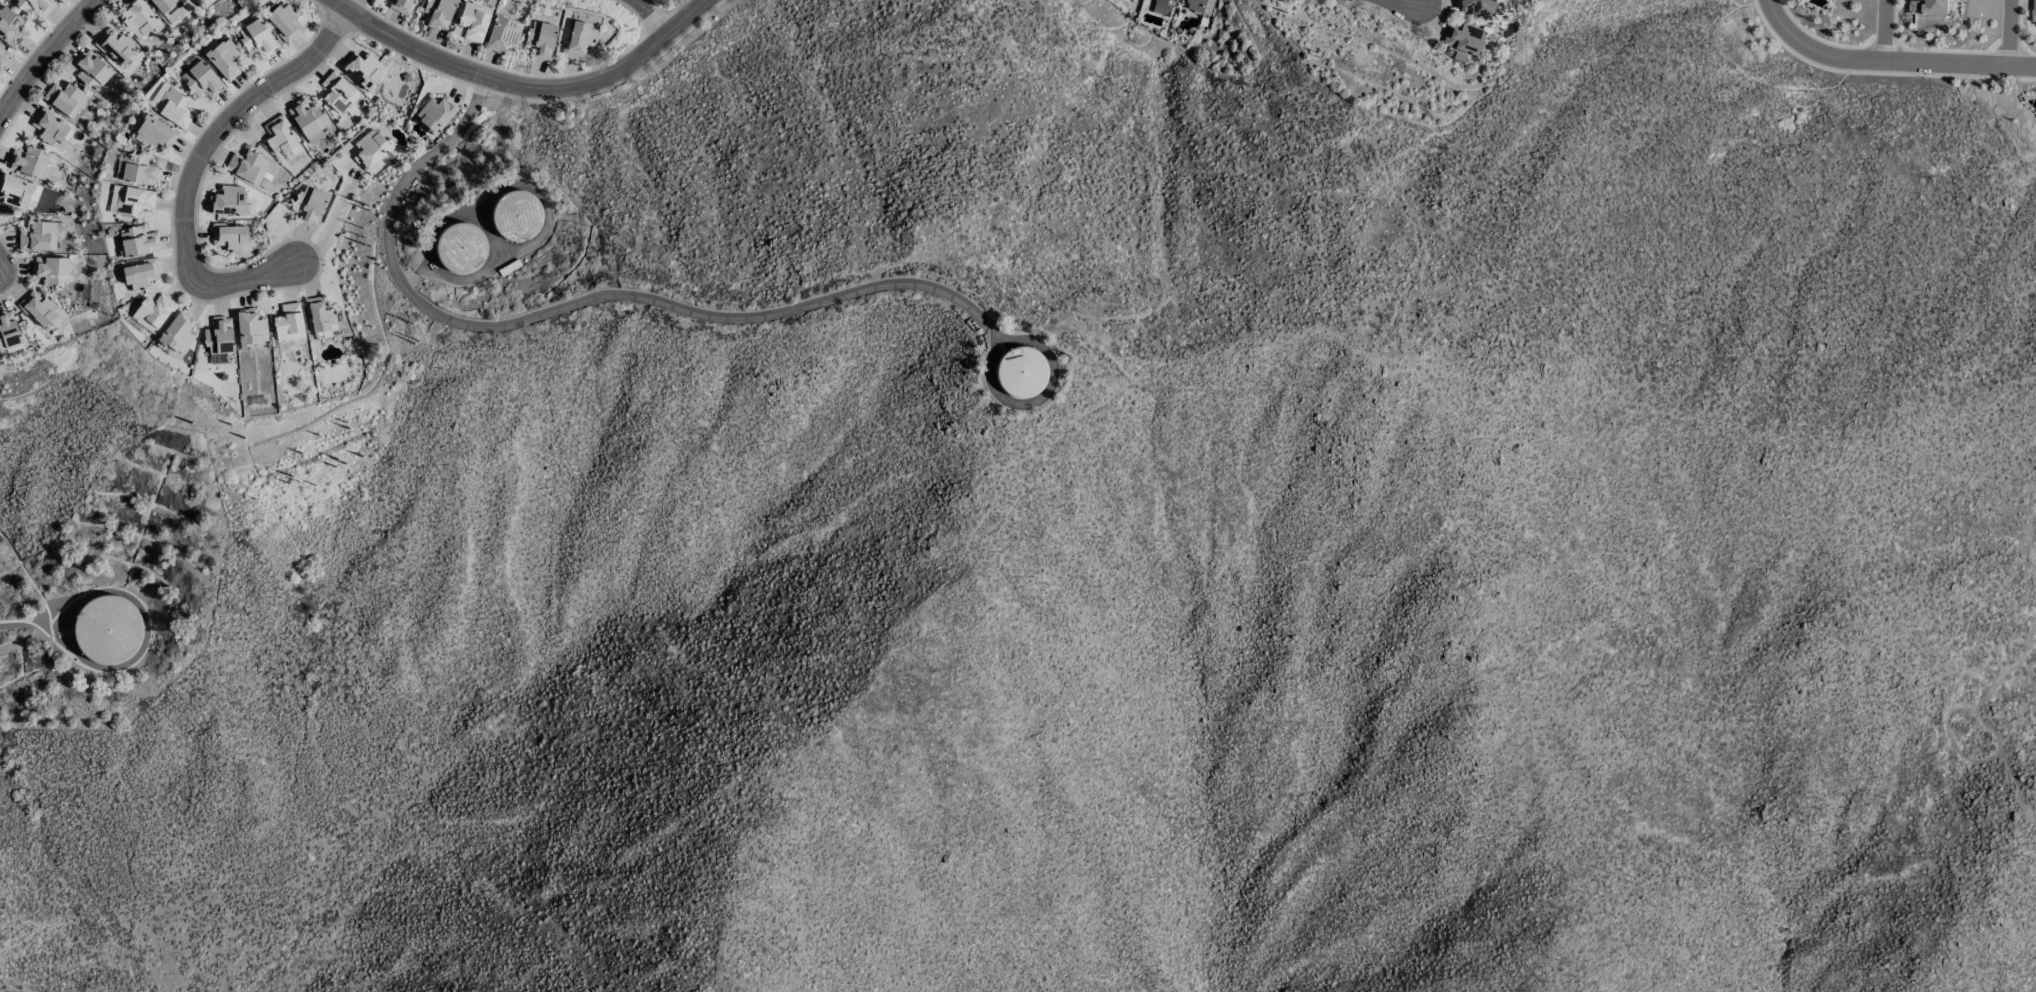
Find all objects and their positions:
building: (31, 5)
building: (167, 6)
building: (400, 6)
building: (1199, 6)
building: (1163, 7)
building: (1477, 7)
building: (1928, 7)
building: (2034, 10)
building: (439, 13)
road: (649, 16)
building: (139, 18)
building: (284, 21)
building: (474, 21)
building: (10, 28)
road: (1885, 31)
building: (503, 34)
road: (2008, 34)
building: (256, 36)
building: (1463, 38)
building: (541, 39)
building: (115, 46)
road: (401, 46)
road: (44, 55)
building: (3, 57)
building: (223, 57)
road: (1874, 63)
road: (2022, 68)
building: (363, 69)
building: (93, 71)
road: (609, 78)
building: (201, 80)
building: (338, 92)
building: (65, 99)
building: (173, 106)
building: (435, 114)
building: (308, 120)
building: (49, 127)
building: (153, 133)
building: (281, 138)
building: (371, 149)
building: (29, 162)
building: (248, 166)
road: (193, 167)
building: (138, 170)
building: (17, 191)
building: (134, 201)
building: (228, 201)
building: (310, 205)
building: (515, 215)
storage tank: (515, 215)
road: (325, 224)
building: (38, 237)
building: (229, 238)
building: (138, 242)
building: (460, 248)
storage tank: (460, 248)
building: (51, 270)
building: (141, 275)
road: (418, 278)
road: (583, 303)
building: (38, 308)
building: (153, 312)
building: (320, 314)
building: (289, 323)
building: (250, 327)
building: (8, 332)
building: (178, 334)
building: (219, 336)
building: (1019, 372)
storage tank: (1019, 372)
road: (33, 625)
building: (106, 629)
storage tank: (106, 629)

